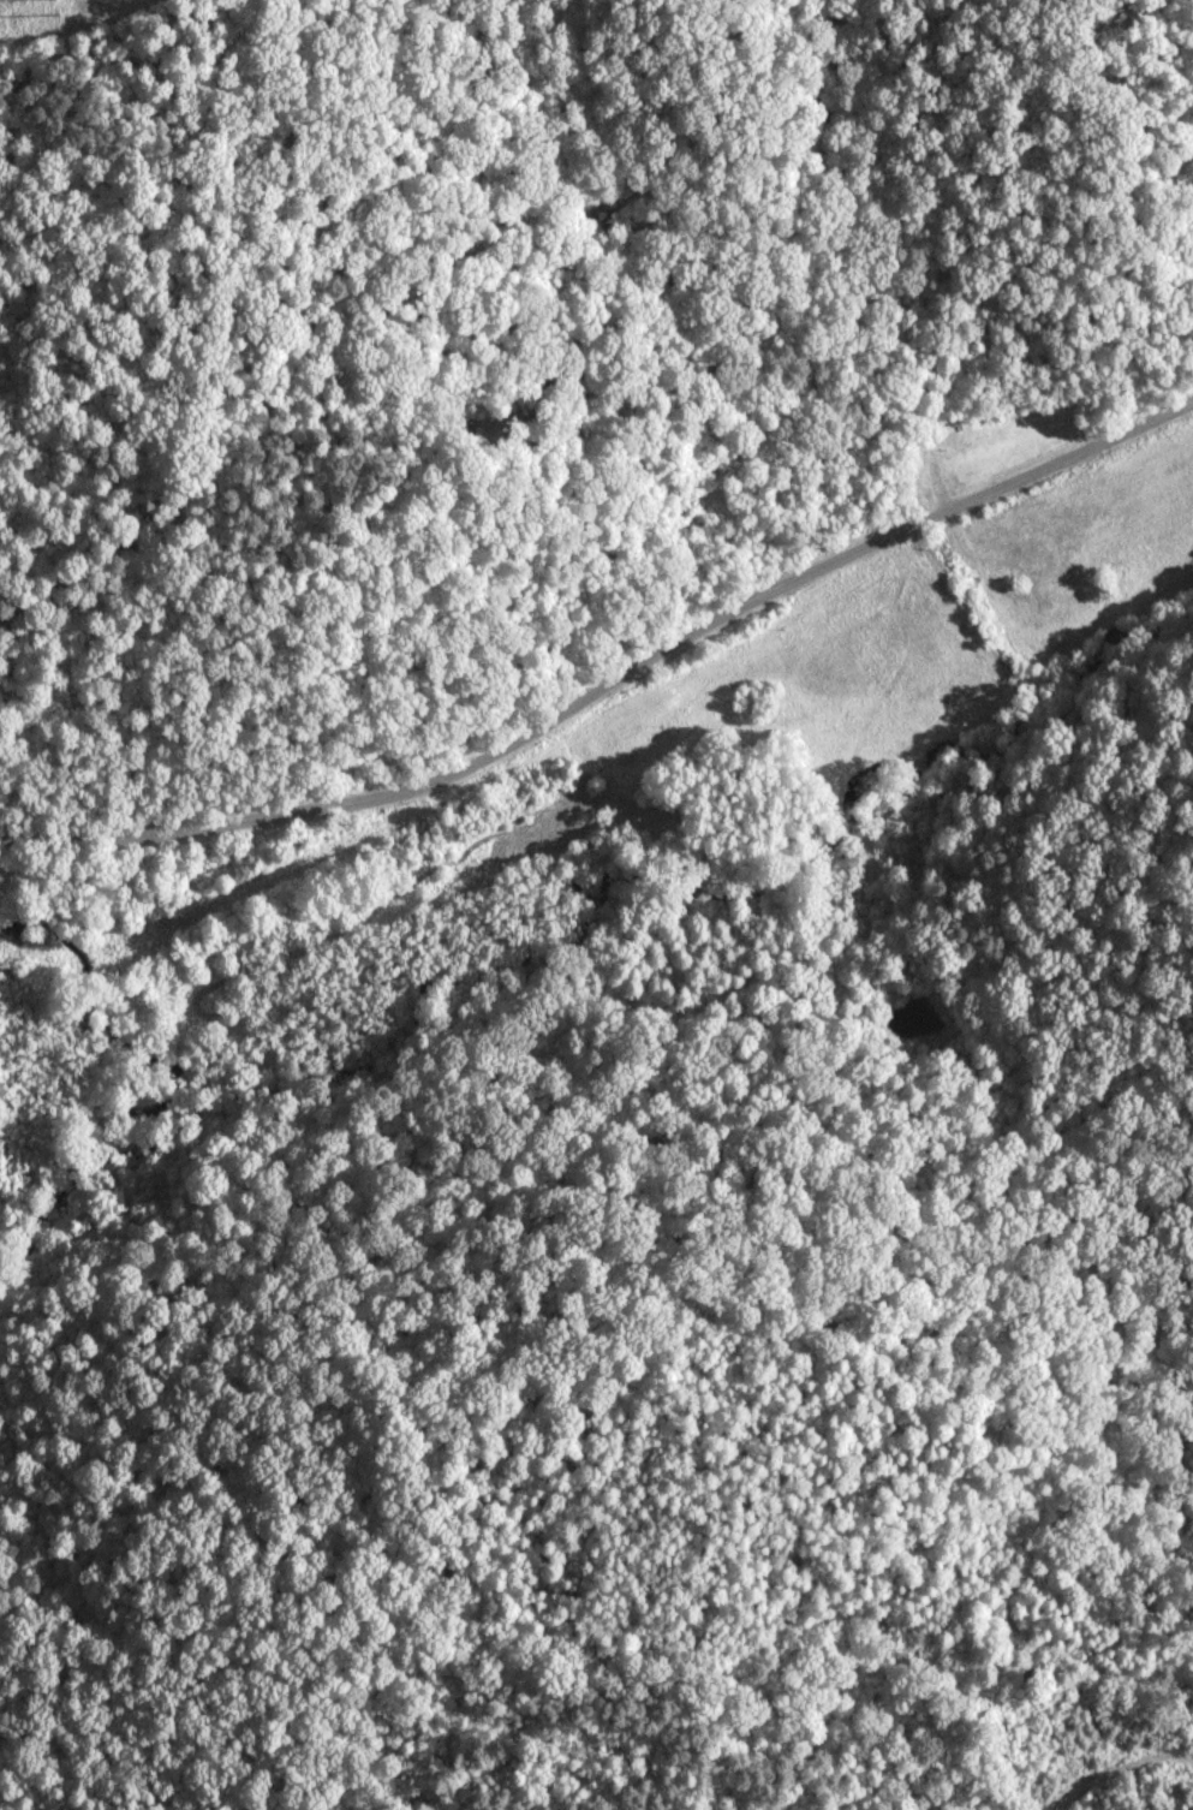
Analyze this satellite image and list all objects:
power tower: (53, 0)
building: (977, 443)
road: (624, 718)
river: (73, 1183)
road: (1125, 1775)

